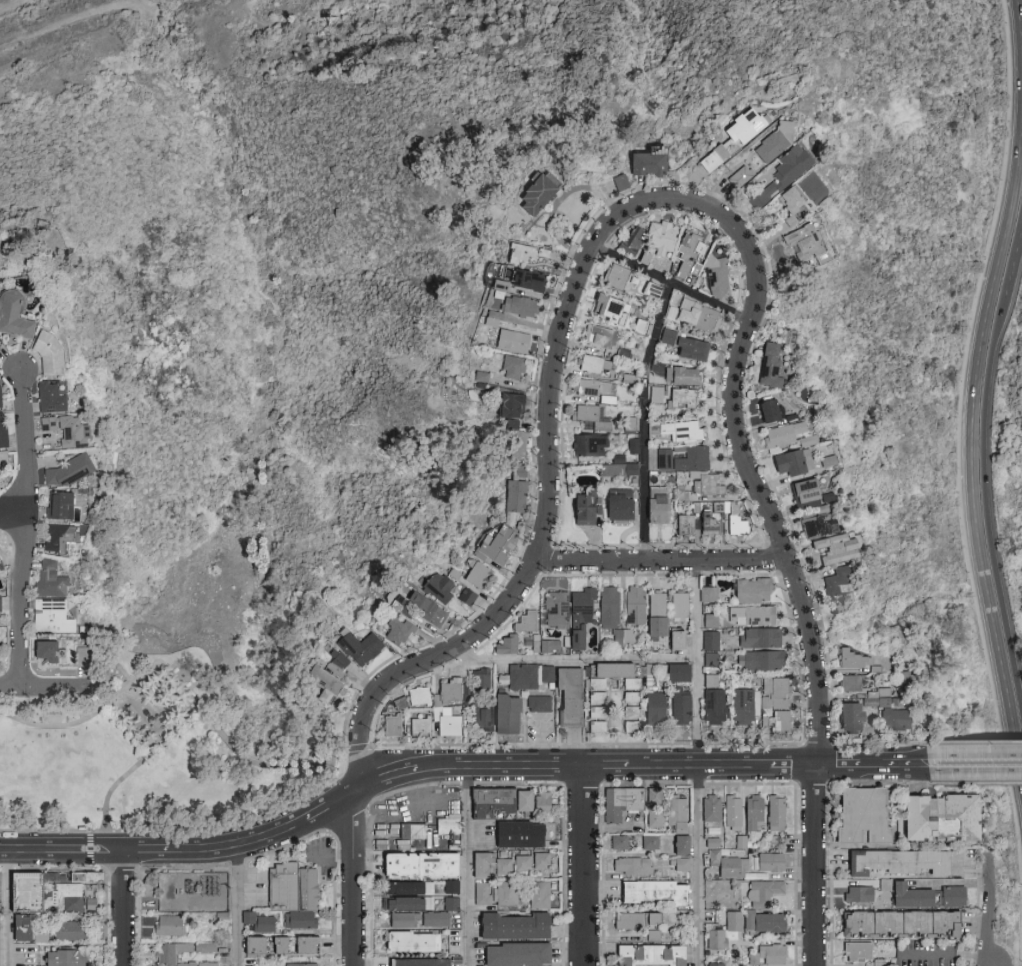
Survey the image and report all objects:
road: (1020, 16)
building: (749, 127)
building: (779, 142)
building: (717, 159)
building: (754, 160)
building: (653, 163)
building: (785, 175)
building: (743, 178)
building: (623, 183)
building: (538, 194)
building: (796, 206)
road: (621, 208)
building: (665, 238)
building: (634, 243)
building: (810, 245)
building: (527, 254)
building: (691, 258)
building: (647, 259)
road: (1015, 260)
building: (718, 276)
building: (618, 277)
road: (669, 280)
building: (531, 281)
building: (502, 289)
building: (656, 291)
building: (522, 307)
building: (614, 310)
building: (673, 314)
building: (16, 317)
building: (701, 317)
building: (495, 319)
building: (643, 328)
building: (602, 338)
building: (516, 342)
building: (1, 345)
building: (688, 346)
building: (52, 354)
building: (625, 354)
building: (596, 365)
building: (515, 367)
building: (775, 368)
building: (484, 377)
building: (685, 377)
building: (631, 380)
building: (595, 388)
building: (658, 393)
building: (1, 397)
building: (53, 399)
building: (610, 400)
building: (684, 400)
building: (513, 406)
building: (773, 411)
building: (594, 418)
road: (644, 418)
building: (793, 419)
building: (509, 423)
building: (514, 426)
building: (632, 426)
building: (71, 431)
building: (681, 432)
building: (4, 434)
building: (785, 438)
building: (805, 439)
building: (810, 442)
building: (520, 446)
building: (592, 446)
building: (636, 447)
road: (971, 455)
building: (695, 459)
building: (5, 460)
building: (621, 460)
building: (667, 460)
building: (830, 462)
building: (796, 464)
building: (521, 471)
building: (622, 471)
building: (73, 472)
building: (709, 485)
building: (85, 490)
building: (684, 495)
building: (808, 495)
building: (829, 496)
road: (987, 496)
building: (517, 500)
building: (623, 506)
road: (12, 507)
building: (63, 507)
building: (661, 507)
building: (588, 508)
building: (698, 508)
building: (719, 508)
building: (824, 511)
building: (737, 521)
road: (23, 525)
building: (711, 525)
building: (821, 526)
building: (688, 527)
building: (62, 539)
building: (500, 547)
building: (839, 550)
road: (660, 559)
building: (2, 566)
building: (456, 575)
building: (479, 576)
building: (0, 578)
building: (53, 582)
building: (440, 589)
building: (840, 591)
building: (755, 592)
building: (711, 596)
building: (469, 598)
building: (2, 605)
building: (638, 608)
building: (683, 608)
building: (611, 609)
building: (408, 611)
building: (558, 612)
building: (583, 617)
building: (755, 617)
building: (54, 618)
building: (708, 619)
building: (659, 622)
building: (714, 622)
building: (529, 624)
building: (401, 632)
building: (632, 638)
building: (673, 638)
building: (763, 639)
building: (620, 640)
building: (681, 642)
building: (569, 643)
building: (530, 644)
building: (510, 646)
building: (537, 646)
building: (552, 647)
building: (361, 648)
building: (49, 651)
building: (0, 657)
building: (85, 657)
road: (573, 659)
building: (854, 659)
building: (713, 662)
building: (765, 662)
building: (878, 670)
building: (613, 672)
building: (681, 675)
building: (901, 677)
building: (332, 678)
building: (529, 678)
road: (182, 680)
building: (484, 682)
building: (629, 682)
building: (714, 682)
building: (757, 682)
building: (852, 684)
road: (35, 685)
building: (600, 685)
building: (635, 685)
building: (469, 690)
building: (882, 693)
building: (778, 694)
building: (422, 698)
building: (573, 698)
building: (599, 698)
building: (635, 699)
building: (886, 703)
building: (896, 703)
building: (656, 704)
building: (402, 705)
building: (541, 705)
building: (748, 707)
building: (440, 708)
building: (684, 708)
building: (718, 708)
building: (484, 713)
building: (600, 713)
building: (635, 713)
building: (509, 715)
building: (853, 718)
building: (897, 720)
building: (767, 722)
building: (784, 722)
building: (395, 727)
building: (423, 728)
building: (599, 728)
building: (635, 728)
park: (167, 747)
road: (695, 762)
road: (607, 764)
road: (975, 764)
road: (503, 765)
road: (699, 765)
road: (899, 765)
road: (792, 766)
road: (816, 766)
road: (844, 766)
road: (134, 768)
road: (393, 774)
road: (356, 790)
building: (657, 797)
building: (519, 800)
building: (527, 801)
building: (495, 803)
building: (624, 803)
road: (327, 806)
building: (545, 806)
building: (678, 810)
building: (714, 810)
building: (735, 813)
building: (757, 813)
building: (778, 814)
building: (866, 817)
building: (945, 818)
building: (657, 819)
building: (450, 827)
building: (682, 828)
building: (415, 831)
building: (523, 835)
building: (778, 840)
road: (241, 842)
building: (621, 843)
building: (653, 843)
building: (715, 843)
building: (744, 843)
building: (684, 845)
road: (91, 850)
road: (148, 850)
road: (63, 852)
building: (716, 858)
building: (544, 861)
building: (900, 862)
building: (758, 863)
building: (774, 863)
building: (525, 864)
road: (586, 865)
building: (685, 865)
building: (424, 866)
road: (470, 866)
building: (492, 866)
road: (814, 866)
building: (635, 867)
building: (735, 868)
building: (54, 876)
building: (82, 876)
building: (759, 877)
road: (348, 881)
building: (280, 886)
building: (887, 886)
building: (305, 887)
building: (454, 887)
building: (412, 889)
building: (22, 890)
building: (657, 893)
building: (766, 893)
building: (485, 895)
building: (509, 895)
building: (861, 895)
building: (542, 896)
building: (63, 897)
building: (930, 897)
road: (240, 904)
building: (409, 904)
building: (454, 905)
road: (9, 908)
road: (127, 909)
building: (298, 918)
road: (991, 918)
building: (438, 920)
building: (257, 921)
building: (406, 921)
building: (638, 921)
building: (736, 922)
building: (766, 922)
building: (168, 924)
building: (904, 925)
building: (17, 927)
building: (518, 927)
building: (67, 929)
building: (38, 935)
building: (656, 936)
building: (718, 938)
building: (415, 942)
building: (276, 944)
building: (304, 944)
building: (252, 945)
building: (860, 952)
building: (521, 955)
building: (775, 955)
road: (946, 955)
building: (163, 956)
building: (653, 956)
building: (62, 957)
building: (755, 959)
building: (422, 963)
building: (881, 963)
building: (298, 964)
building: (719, 965)

